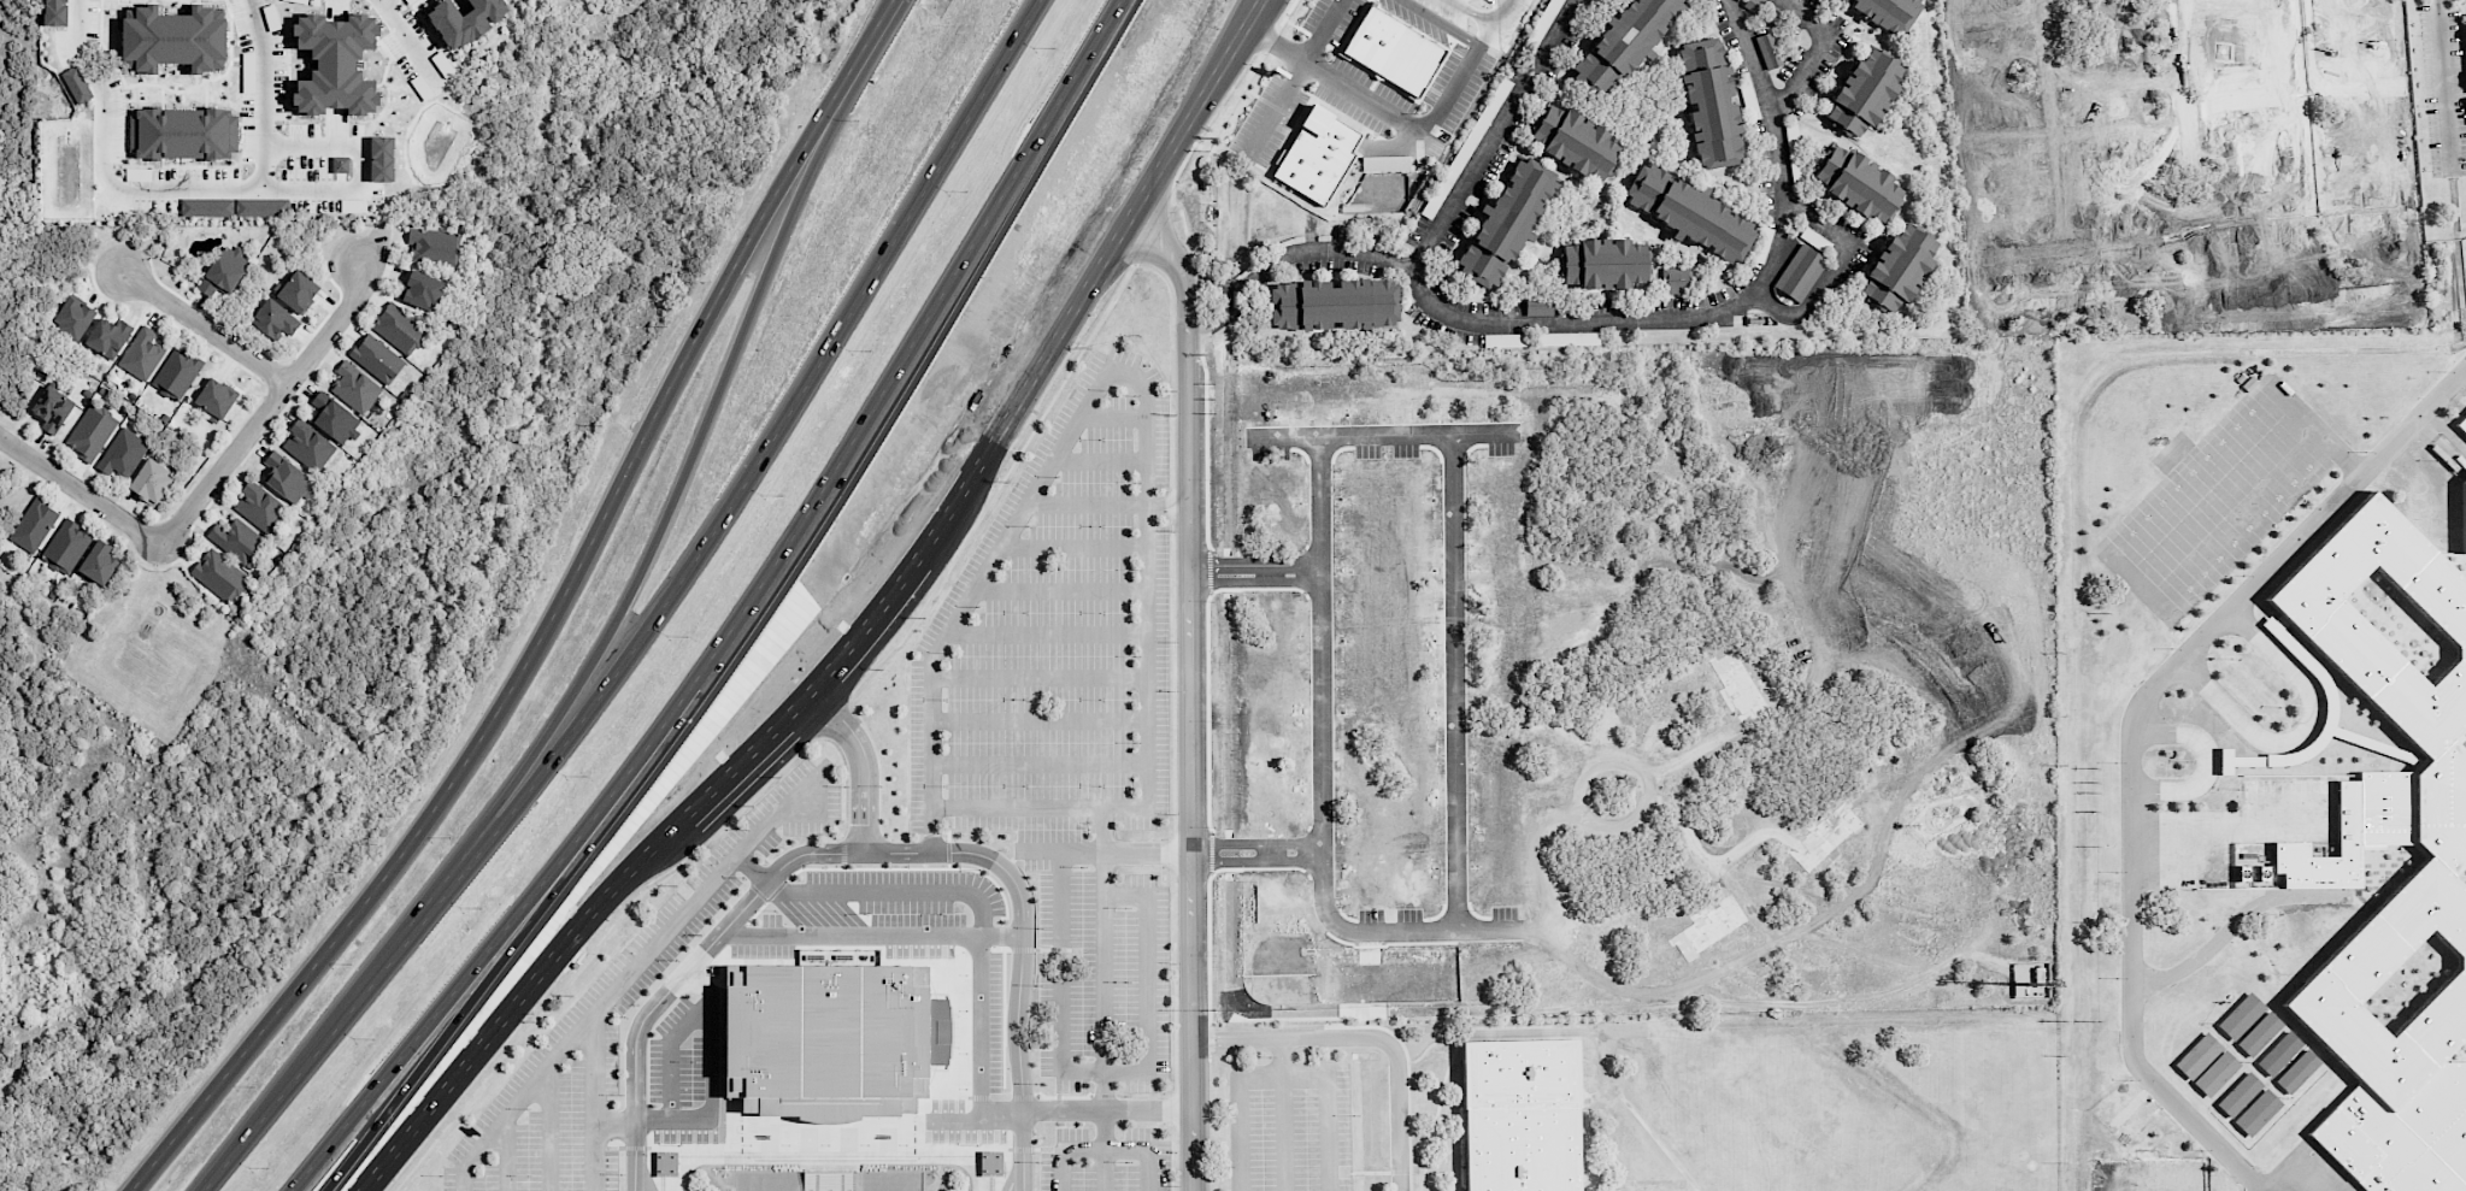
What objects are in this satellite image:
building: (298, 1)
building: (410, 1)
parking lot: (313, 2)
building: (55, 12)
road: (1471, 12)
building: (1888, 12)
road: (888, 14)
building: (271, 17)
building: (464, 19)
road: (1441, 23)
parking lot: (240, 26)
road: (1317, 30)
road: (431, 33)
building: (173, 40)
road: (411, 42)
building: (1622, 45)
road: (1817, 48)
building: (1393, 51)
building: (1767, 51)
road: (1752, 55)
road: (460, 59)
building: (335, 64)
road: (1288, 78)
building: (76, 84)
road: (2447, 86)
building: (1859, 90)
building: (1708, 101)
road: (1428, 123)
building: (183, 134)
road: (1495, 136)
building: (1575, 141)
building: (1314, 155)
building: (381, 159)
building: (1381, 164)
building: (340, 165)
road: (360, 165)
building: (1855, 181)
road: (181, 185)
building: (353, 205)
building: (206, 207)
building: (258, 207)
building: (1690, 211)
building: (1506, 220)
road: (1124, 231)
building: (434, 246)
building: (1603, 263)
building: (1896, 266)
road: (1831, 267)
building: (225, 270)
building: (1800, 272)
road: (1202, 279)
road: (1247, 279)
building: (1676, 279)
building: (423, 290)
building: (298, 291)
road: (1225, 299)
road: (1253, 299)
building: (1334, 303)
building: (73, 317)
building: (275, 319)
road: (1593, 320)
road: (1205, 325)
road: (207, 329)
building: (399, 329)
building: (108, 337)
building: (141, 354)
building: (377, 359)
building: (176, 373)
building: (354, 388)
building: (214, 400)
road: (269, 407)
building: (52, 408)
road: (1112, 417)
building: (332, 418)
building: (2461, 425)
road: (2315, 426)
building: (90, 432)
road: (1382, 436)
road: (2443, 438)
building: (307, 446)
building: (122, 453)
road: (1099, 459)
building: (286, 477)
road: (747, 479)
building: (151, 482)
road: (82, 488)
road: (675, 495)
park: (2220, 499)
road: (1084, 505)
road: (1165, 505)
building: (259, 507)
building: (2464, 515)
building: (34, 525)
building: (235, 540)
road: (1072, 544)
building: (65, 546)
building: (99, 562)
road: (1253, 574)
building: (219, 576)
road: (906, 586)
road: (1059, 589)
road: (965, 601)
road: (737, 618)
road: (1046, 632)
road: (540, 635)
road: (1038, 674)
road: (1456, 682)
road: (1147, 683)
road: (1187, 695)
road: (1038, 719)
road: (2305, 732)
road: (2131, 738)
road: (1038, 762)
road: (2209, 763)
road: (860, 766)
road: (742, 767)
road: (1320, 776)
building: (2401, 810)
road: (769, 819)
road: (1254, 842)
road: (1101, 850)
road: (1270, 854)
parking lot: (949, 859)
road: (1254, 865)
building: (2250, 873)
road: (957, 891)
road: (1058, 897)
road: (2235, 922)
road: (526, 926)
road: (869, 934)
road: (702, 949)
road: (399, 953)
road: (1103, 959)
building: (2041, 977)
road: (1017, 990)
building: (2020, 990)
road: (1761, 1002)
road: (1146, 1003)
road: (516, 1009)
road: (595, 1009)
building: (2240, 1015)
road: (1058, 1022)
building: (2259, 1033)
road: (1366, 1036)
building: (829, 1038)
road: (669, 1050)
building: (2278, 1054)
building: (2197, 1056)
building: (2296, 1071)
building: (2215, 1073)
road: (293, 1081)
building: (2238, 1095)
road: (710, 1098)
road: (594, 1099)
road: (1105, 1109)
road: (1238, 1112)
road: (1324, 1112)
road: (1282, 1113)
building: (2256, 1113)
building: (1519, 1114)
road: (975, 1115)
road: (546, 1130)
road: (1125, 1149)
road: (1103, 1150)
road: (505, 1154)
building: (665, 1163)
building: (990, 1163)
road: (2291, 1165)
stadium: (828, 1169)
road: (1061, 1169)
parking lot: (2291, 1169)
road: (461, 1179)
building: (828, 1180)
park: (2112, 1184)
park: (2147, 1184)
park: (2180, 1184)

